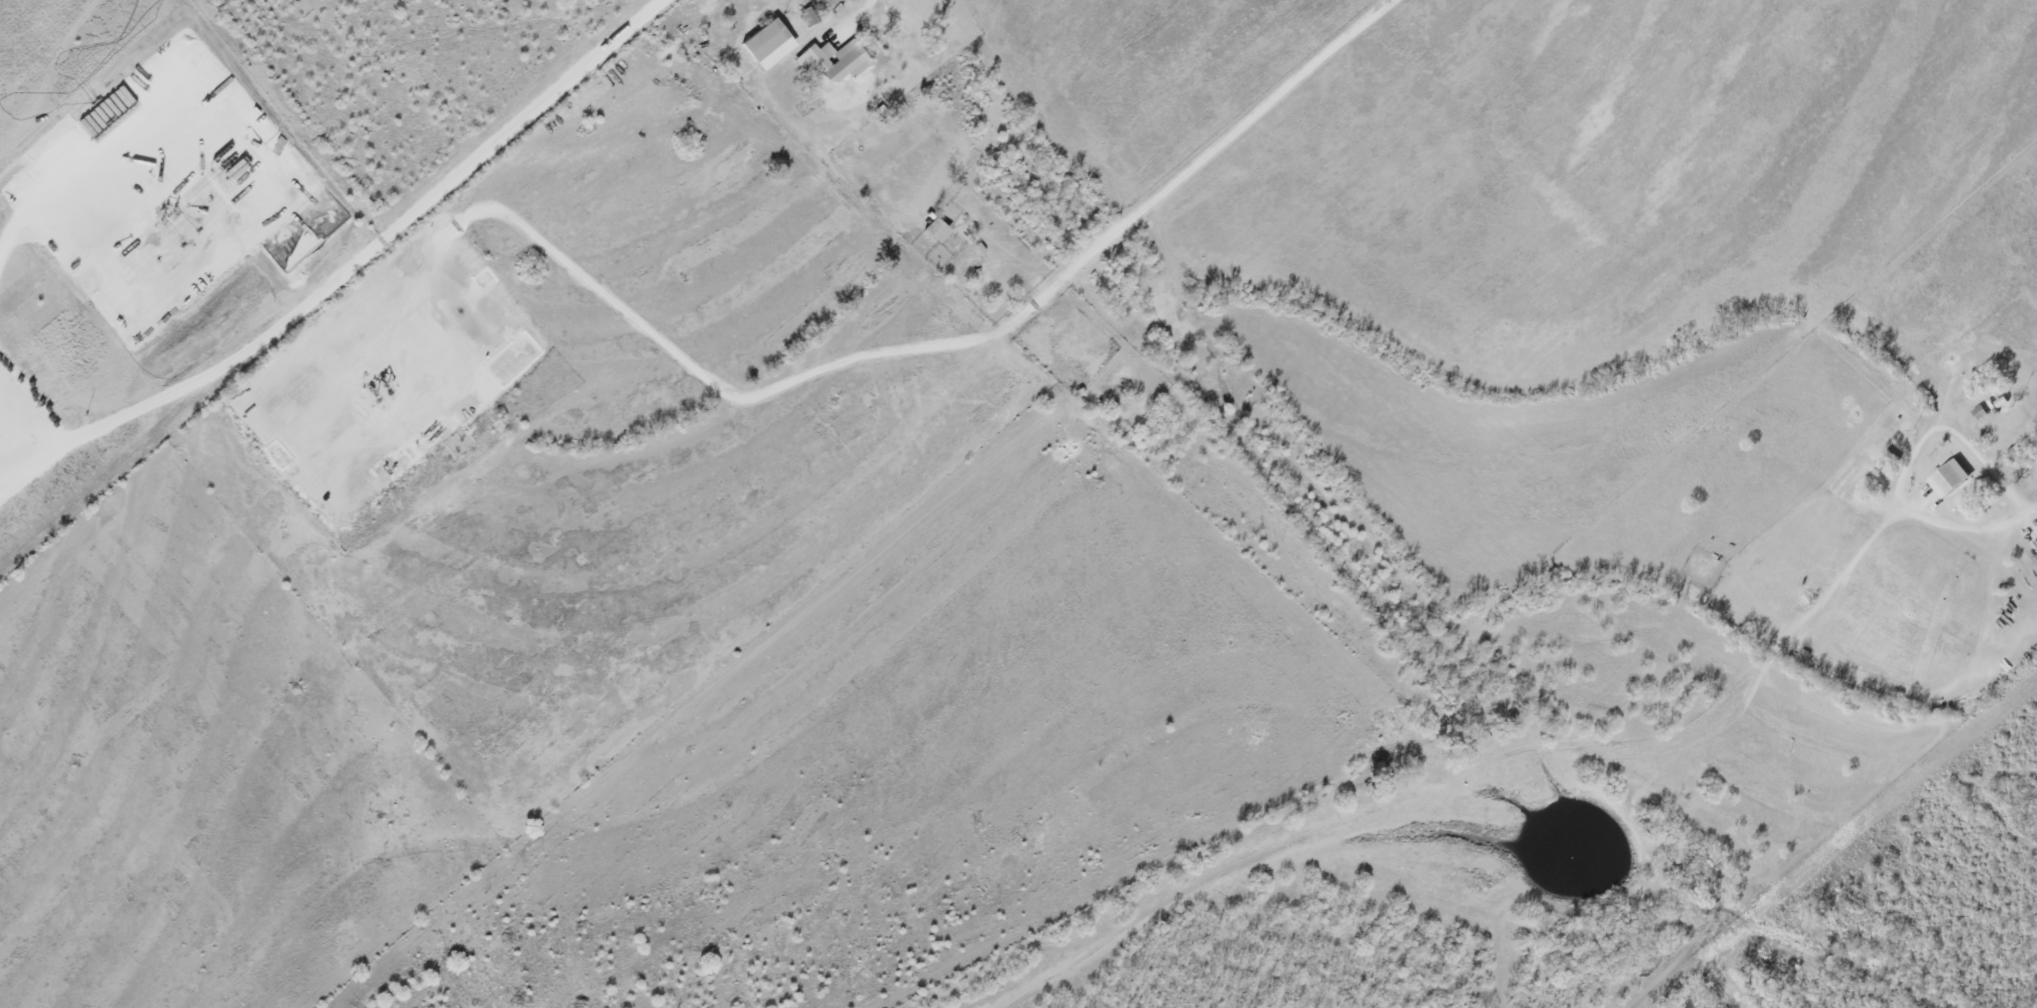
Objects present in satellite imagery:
road: (861, 9)
building: (767, 42)
road: (310, 43)
building: (851, 60)
building: (817, 61)
road: (55, 187)
building: (938, 232)
road: (349, 269)
road: (826, 376)
road: (1909, 462)
building: (1947, 480)
road: (2032, 512)

